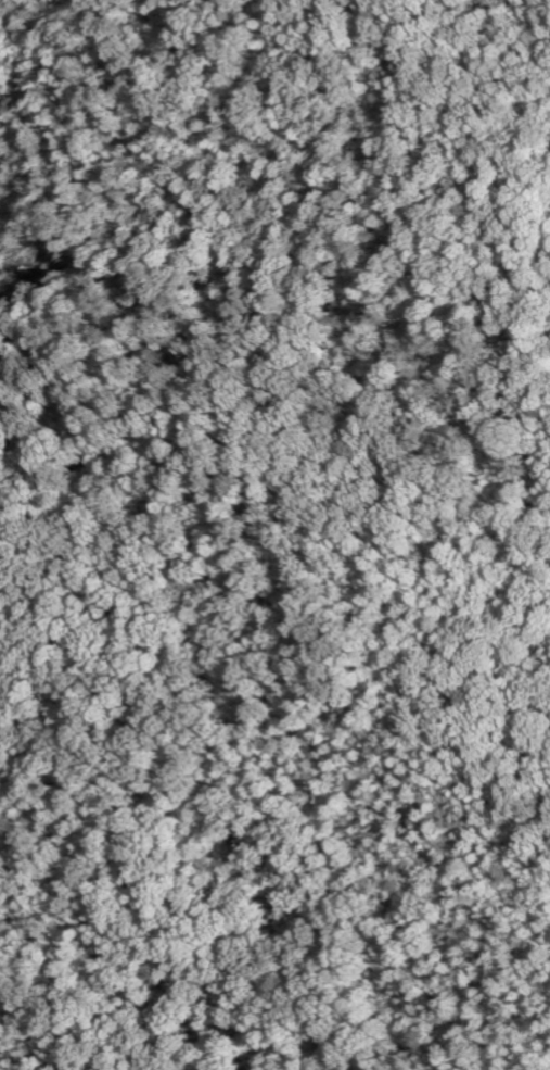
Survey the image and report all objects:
road: (499, 520)

